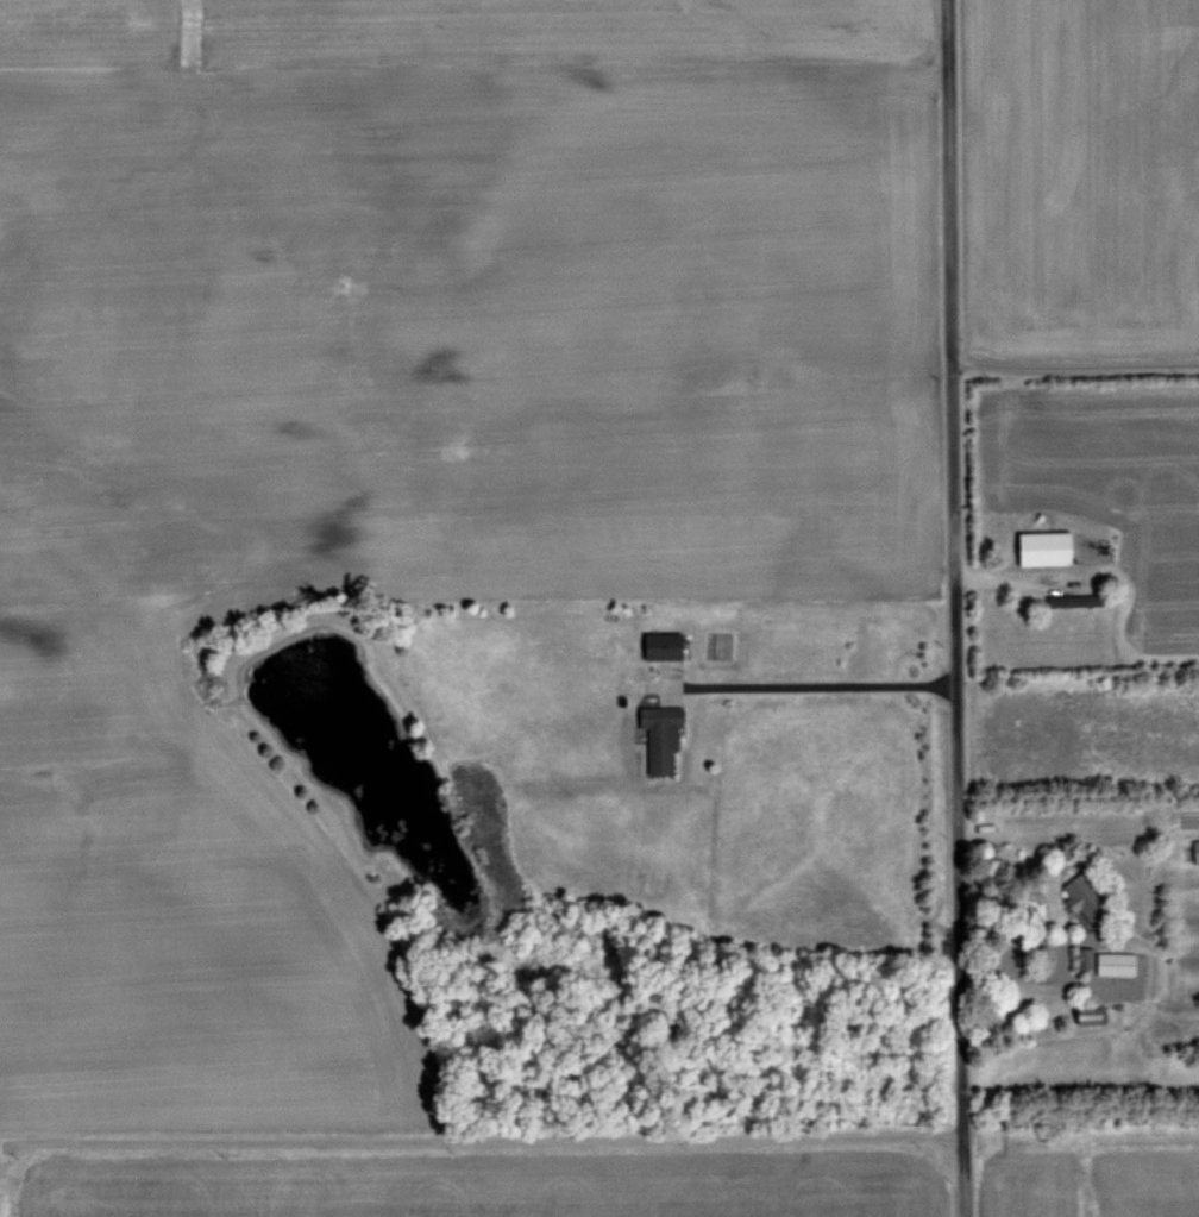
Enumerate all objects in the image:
road: (1074, 363)
building: (1048, 548)
road: (1013, 572)
road: (953, 608)
building: (666, 647)
road: (811, 690)
building: (665, 738)
building: (1197, 852)
building: (1088, 902)
building: (1119, 965)
road: (1043, 977)
building: (1094, 1016)
road: (479, 1141)

